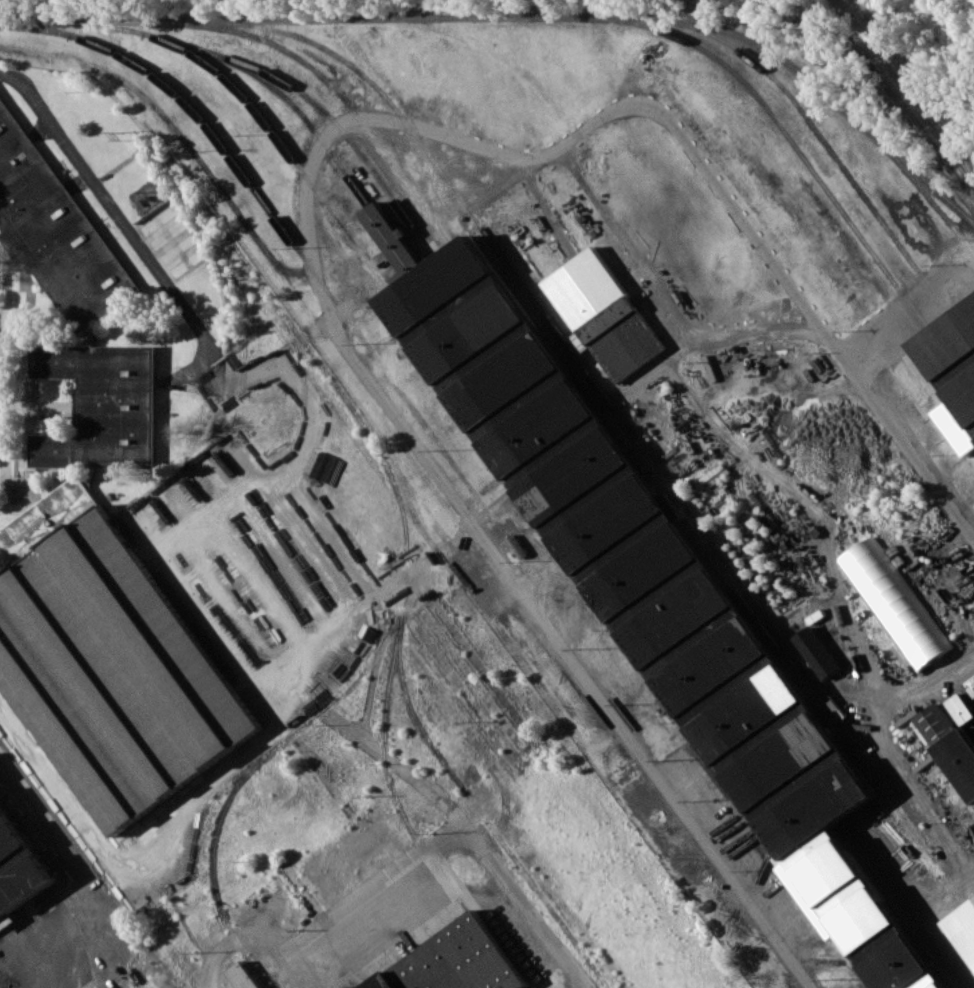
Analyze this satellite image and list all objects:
railway: (521, 13)
railway: (327, 84)
railway: (915, 91)
railway: (905, 93)
railway: (306, 95)
railway: (295, 107)
railway: (257, 108)
railway: (208, 124)
railway: (776, 124)
railway: (814, 129)
railway: (423, 167)
railway: (922, 190)
road: (305, 191)
road: (118, 218)
building: (52, 228)
railway: (538, 305)
road: (913, 310)
building: (603, 314)
road: (740, 332)
railway: (962, 334)
road: (291, 346)
building: (955, 356)
railway: (953, 361)
road: (661, 365)
building: (102, 406)
railway: (651, 495)
road: (298, 497)
railway: (638, 504)
road: (423, 562)
building: (651, 582)
railway: (654, 597)
building: (894, 603)
railway: (643, 640)
building: (817, 651)
building: (107, 659)
building: (962, 708)
building: (948, 744)
road: (469, 829)
road: (144, 856)
building: (17, 869)
road: (361, 894)
building: (7, 921)
building: (964, 924)
road: (235, 939)
building: (454, 962)
building: (244, 975)

